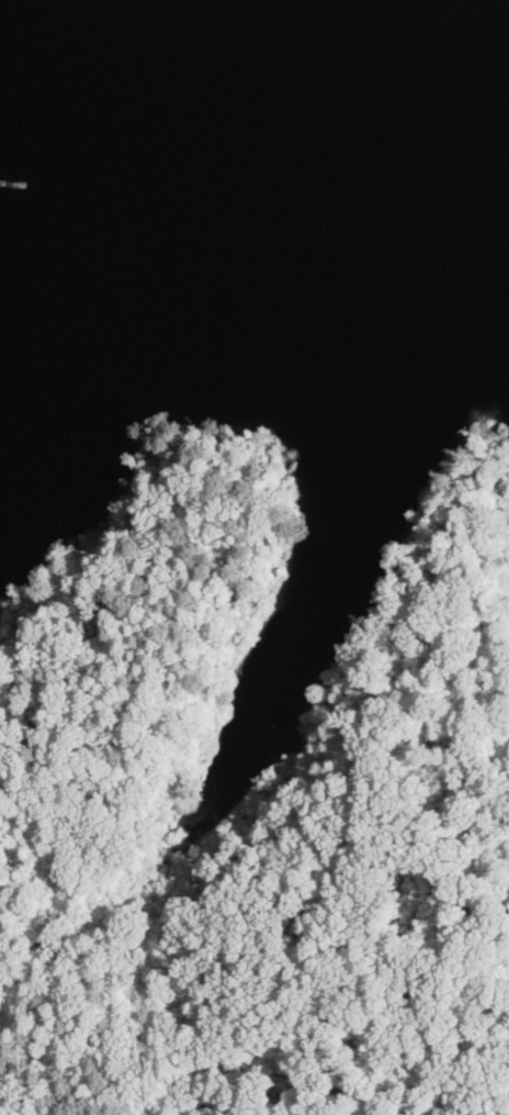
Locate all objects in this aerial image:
park: (257, 802)
road: (211, 924)

